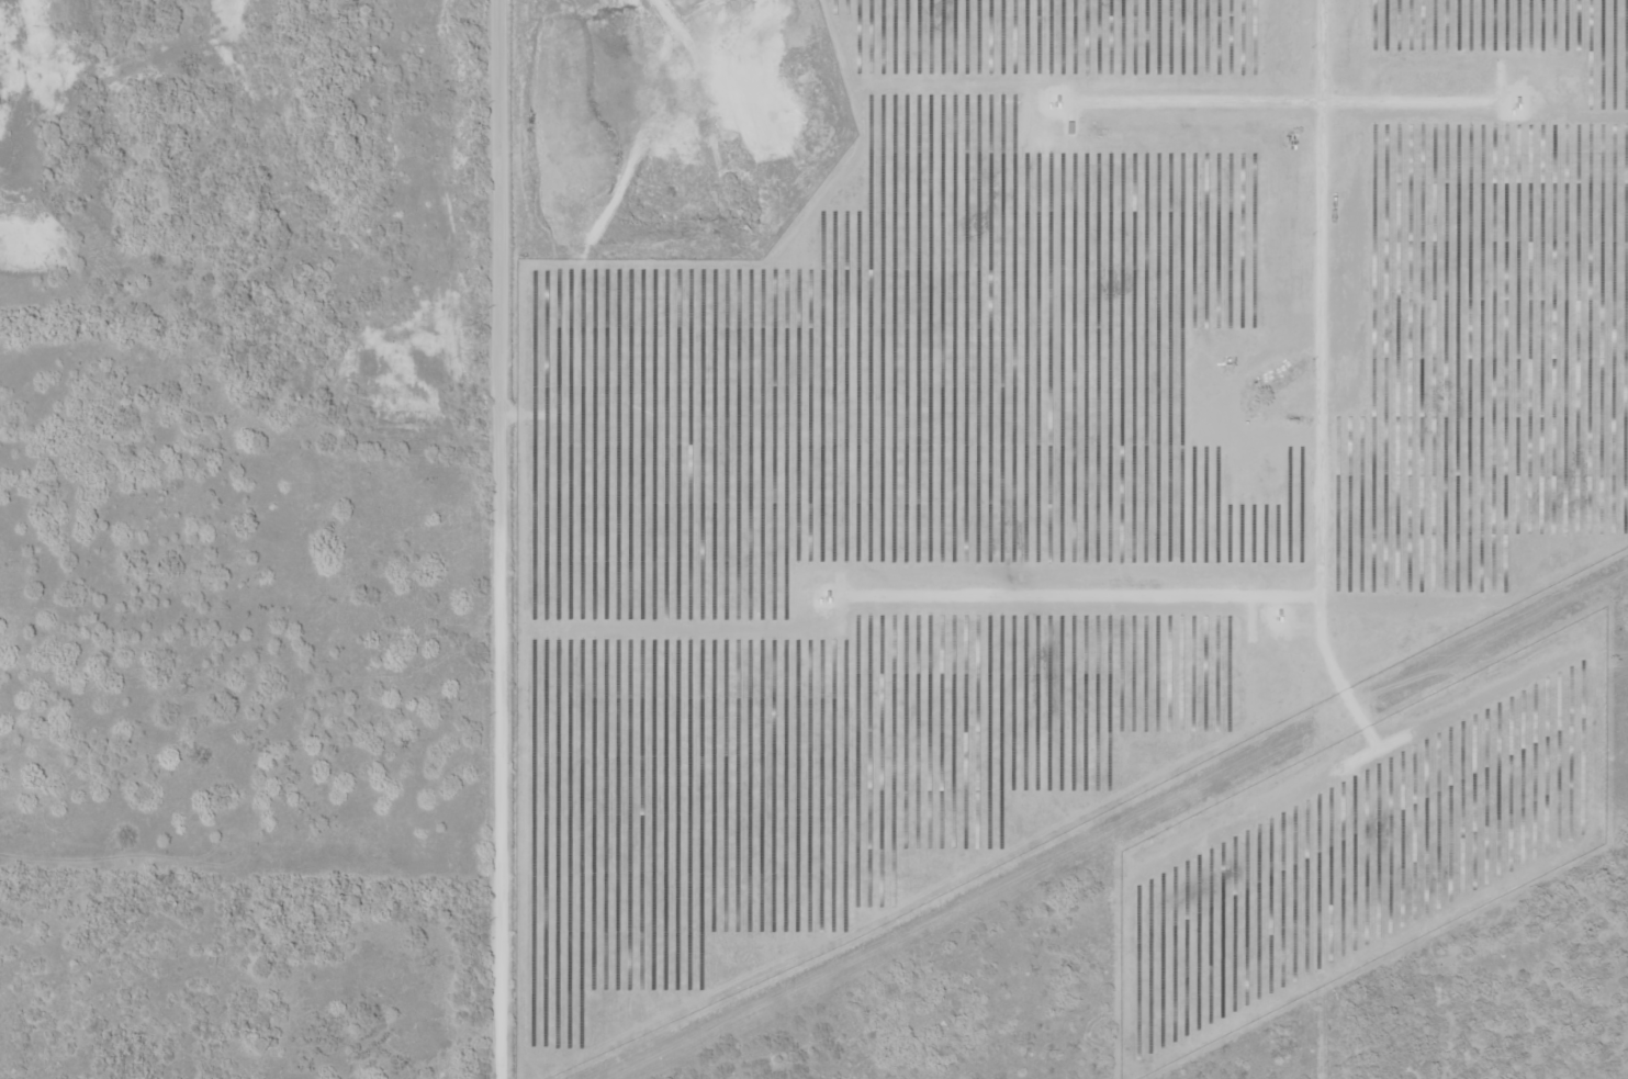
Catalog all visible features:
road: (491, 539)

